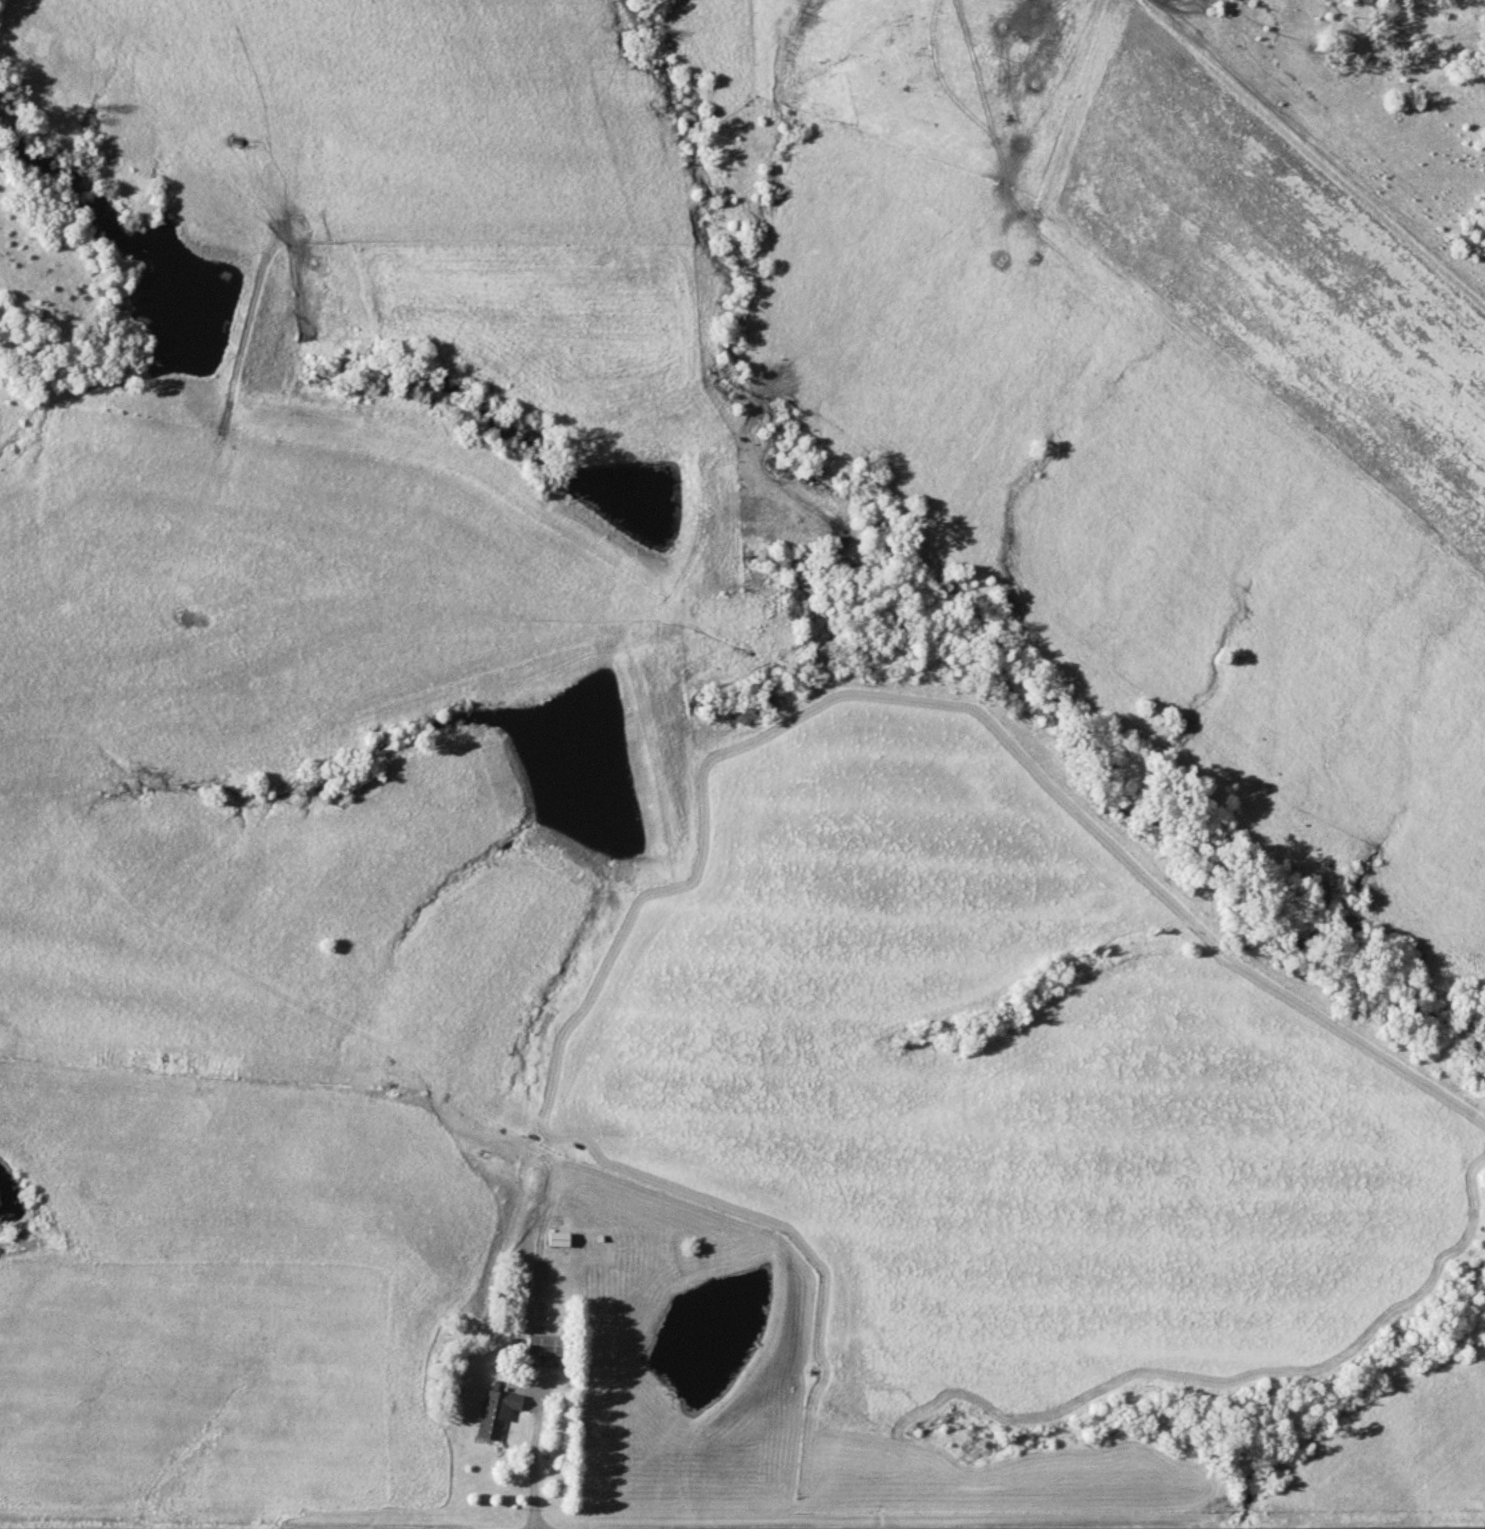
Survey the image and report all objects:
building: (558, 1239)
building: (544, 1344)
building: (496, 1413)

